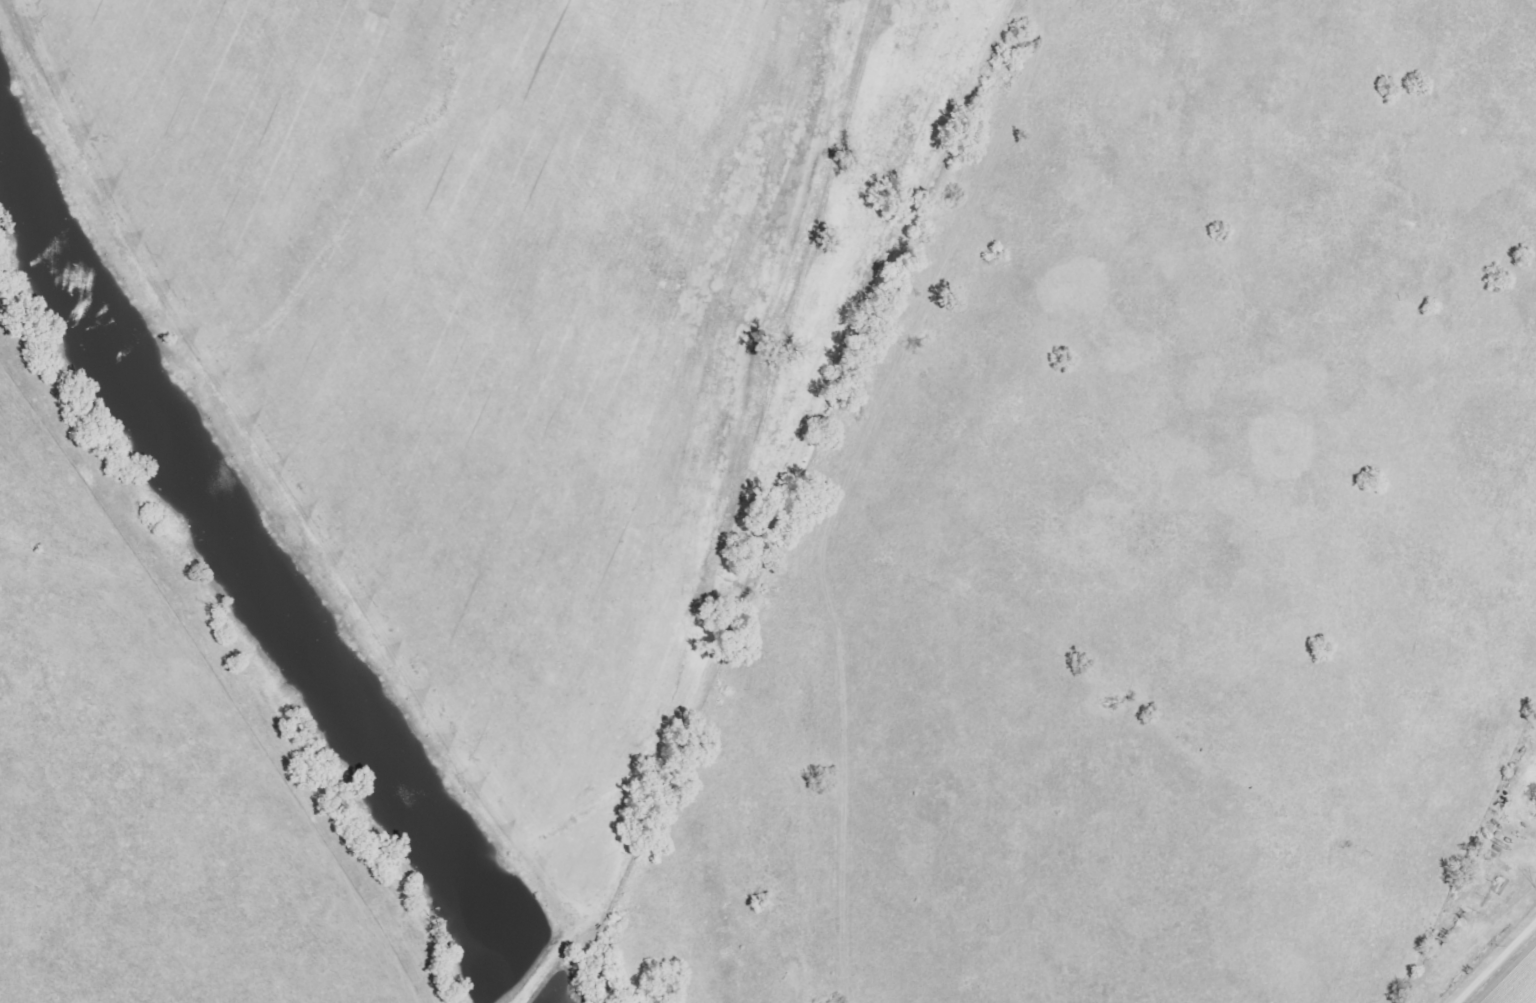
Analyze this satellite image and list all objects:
road: (778, 511)
road: (1493, 960)

